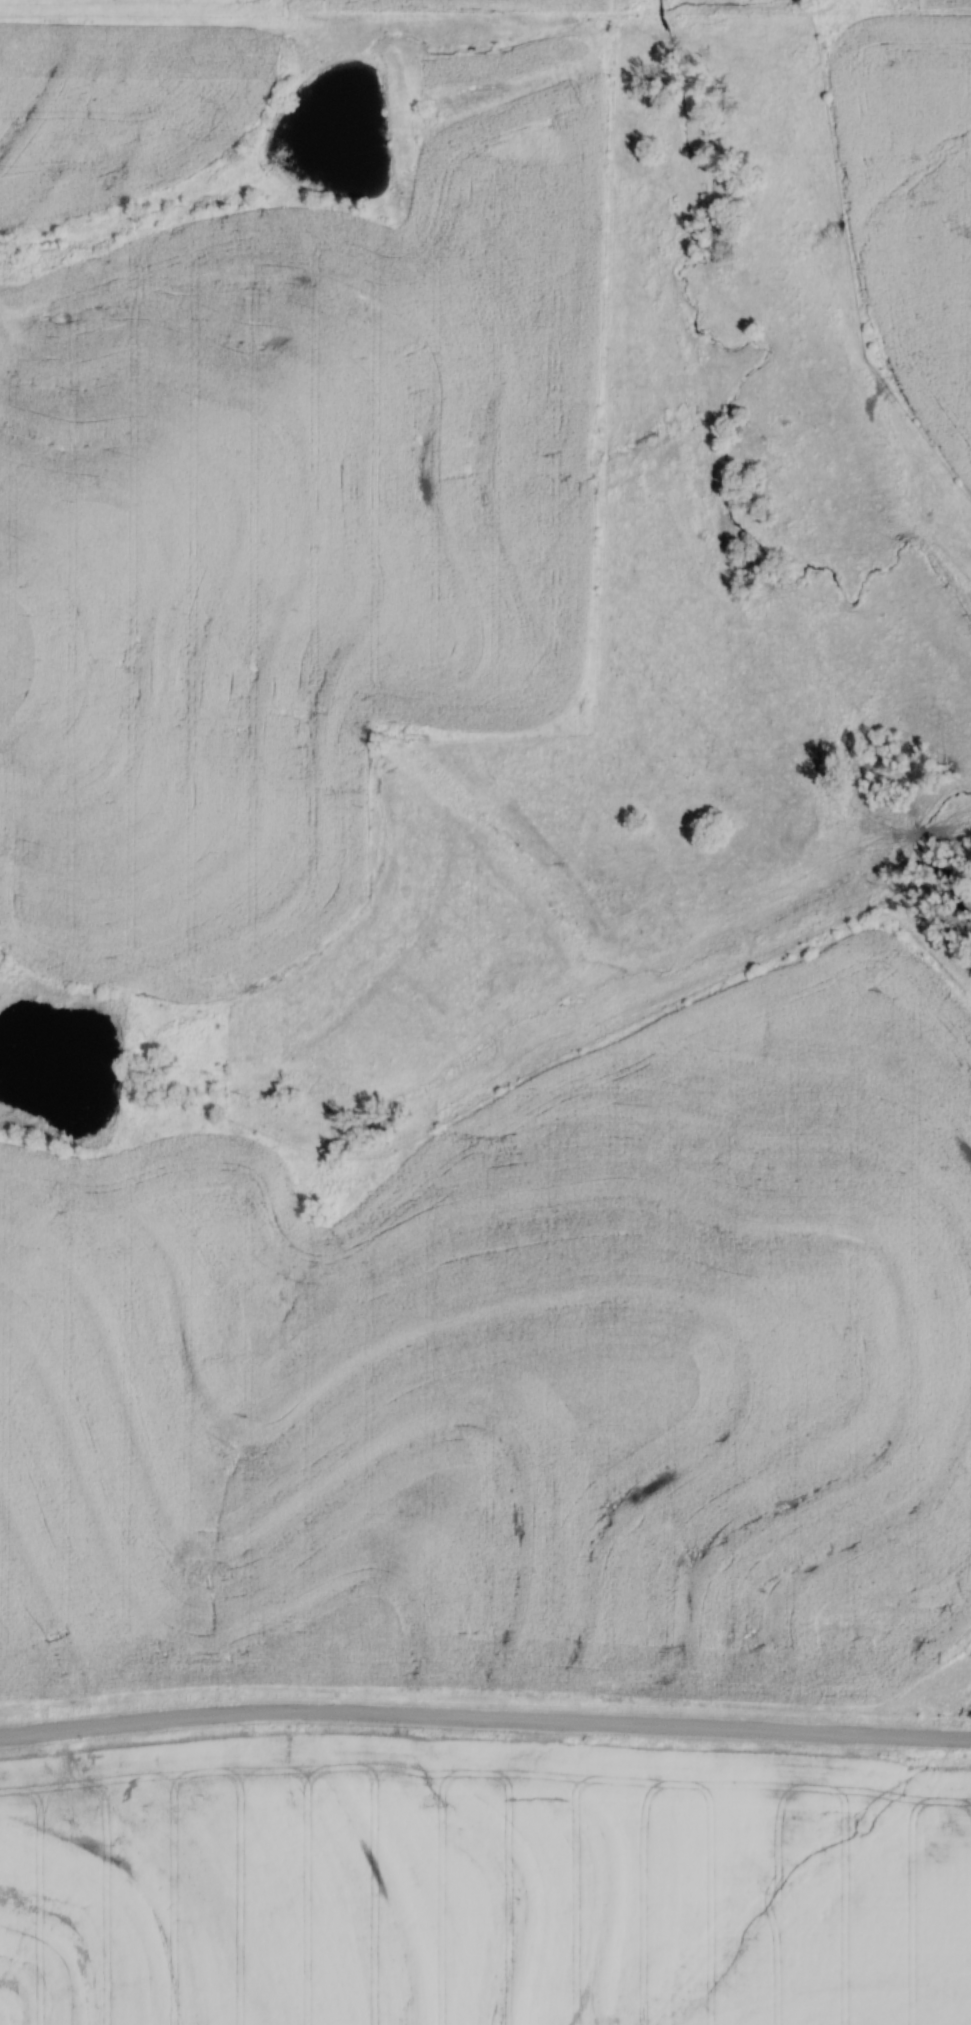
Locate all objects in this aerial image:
road: (464, 1717)

